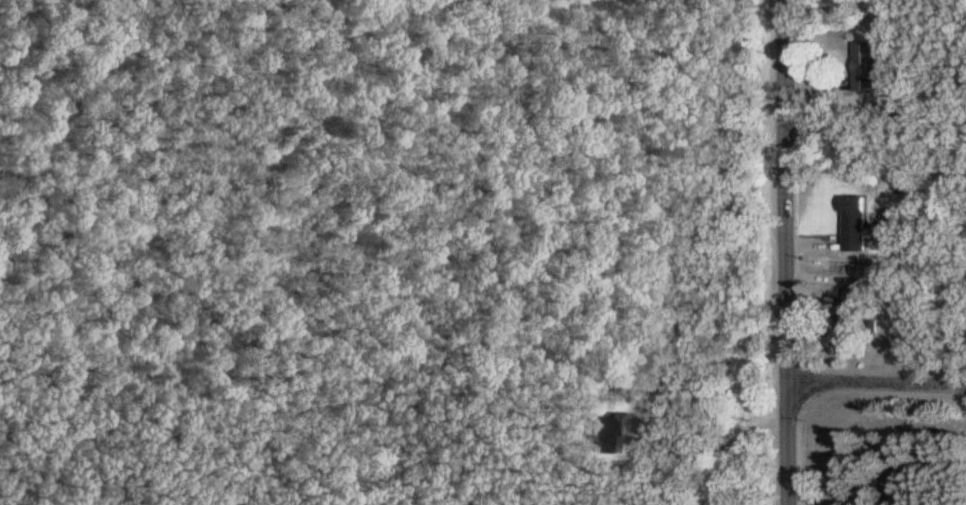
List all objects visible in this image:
building: (866, 68)
building: (856, 224)
road: (787, 252)
building: (850, 309)
road: (878, 384)
building: (604, 436)
road: (717, 448)
road: (878, 491)

